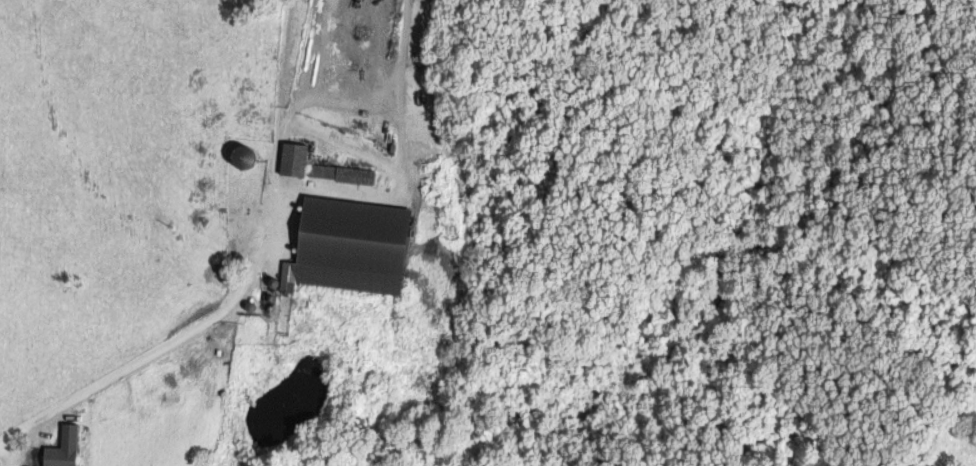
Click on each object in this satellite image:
building: (290, 159)
building: (337, 173)
building: (345, 246)
road: (249, 283)
building: (60, 449)
road: (9, 456)

